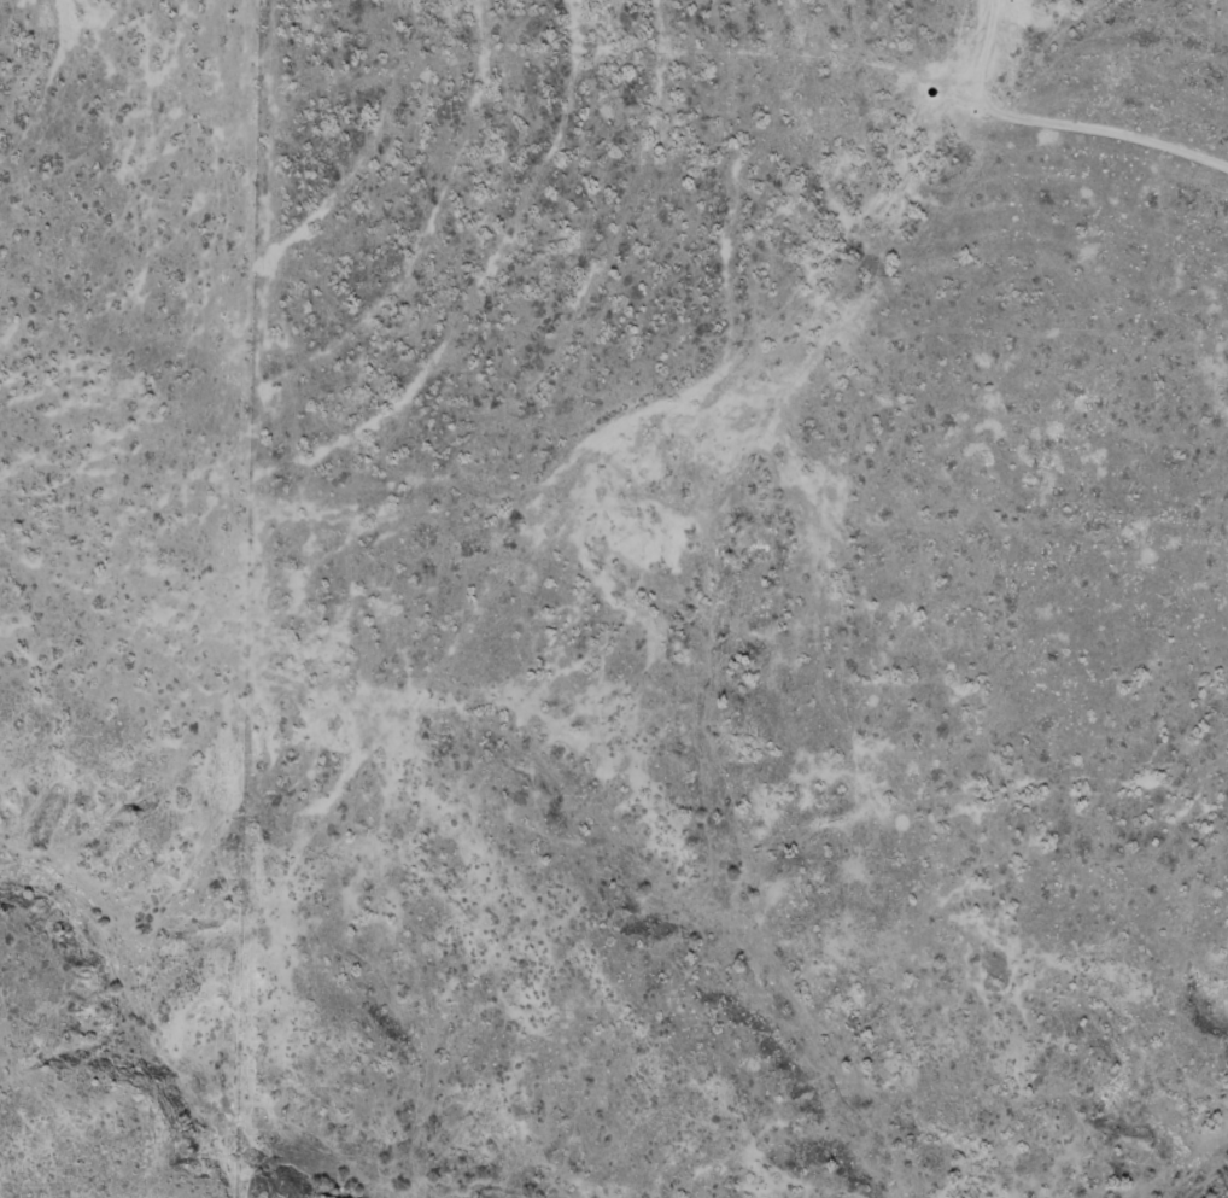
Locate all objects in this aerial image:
road: (1066, 127)

